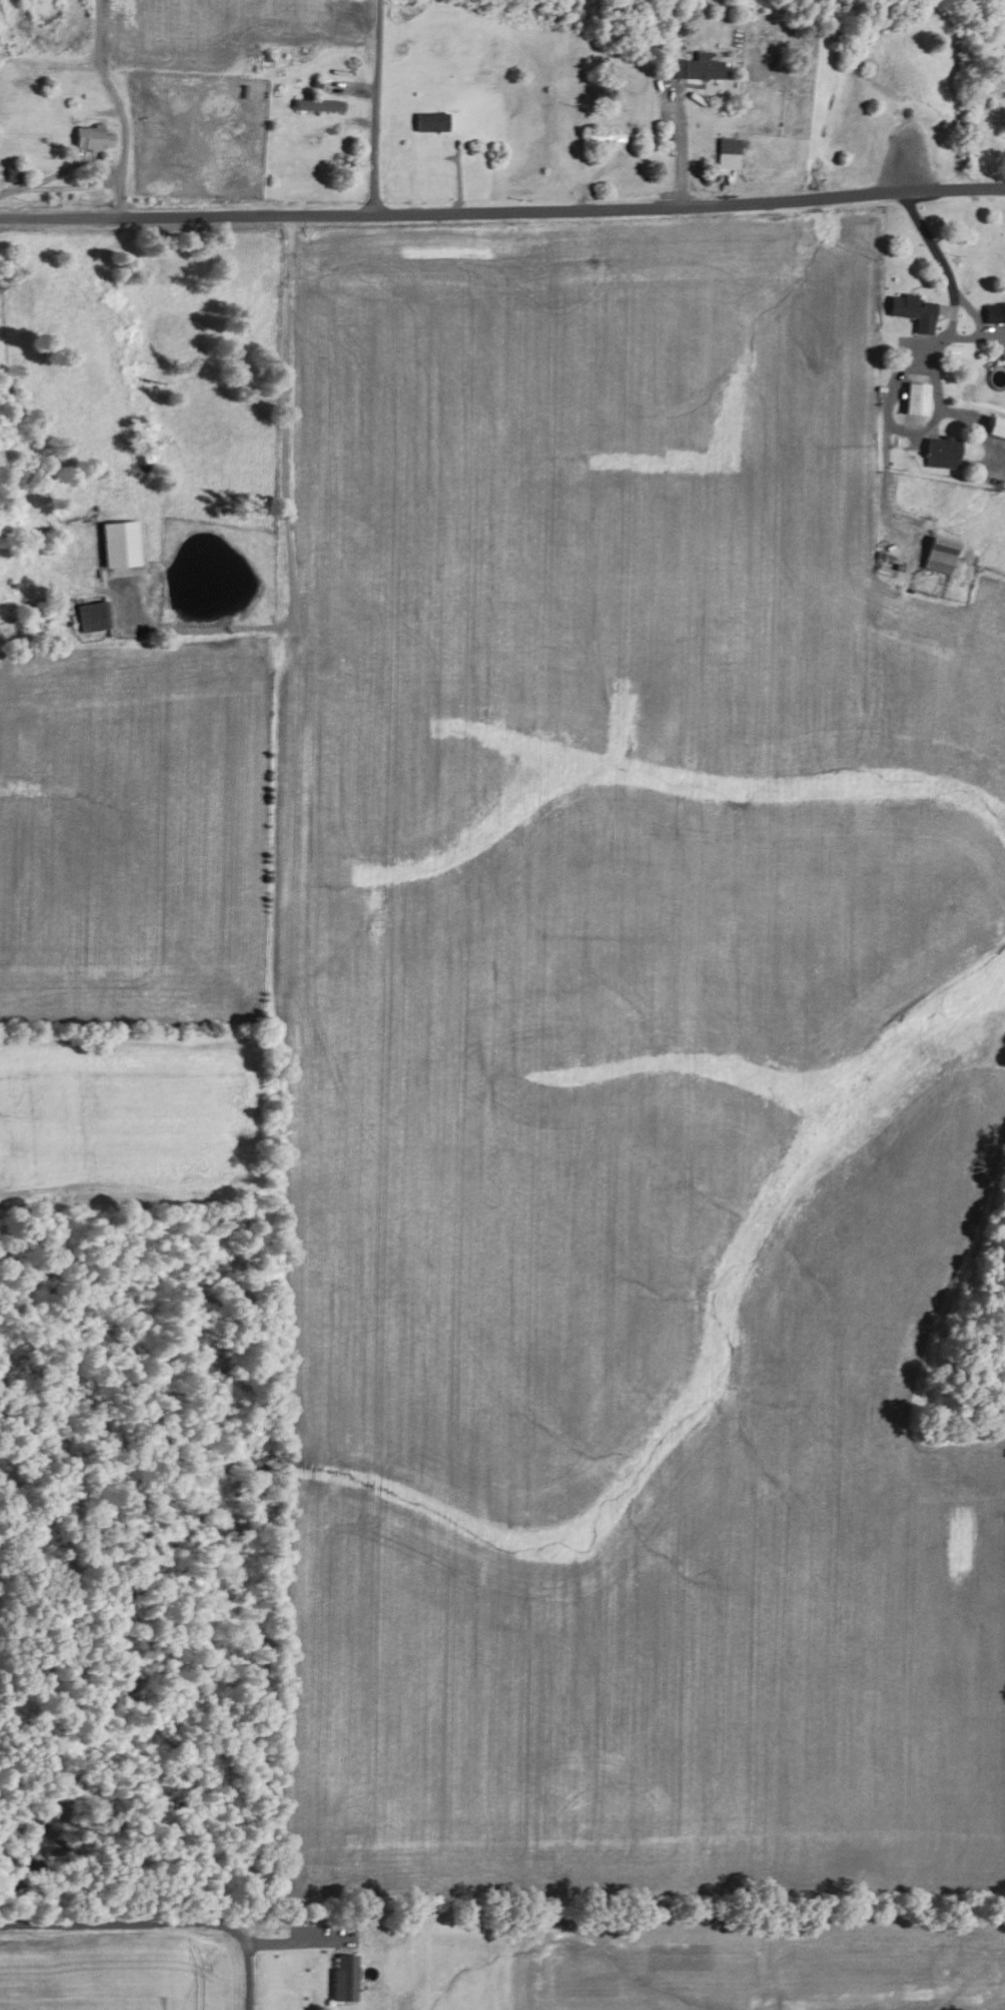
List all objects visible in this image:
building: (705, 67)
building: (674, 68)
building: (320, 105)
road: (376, 106)
building: (432, 122)
building: (94, 138)
building: (730, 153)
road: (502, 208)
building: (915, 311)
building: (995, 313)
building: (917, 399)
building: (996, 428)
building: (944, 453)
building: (119, 545)
building: (940, 555)
building: (92, 617)
road: (160, 1925)
building: (347, 1979)

